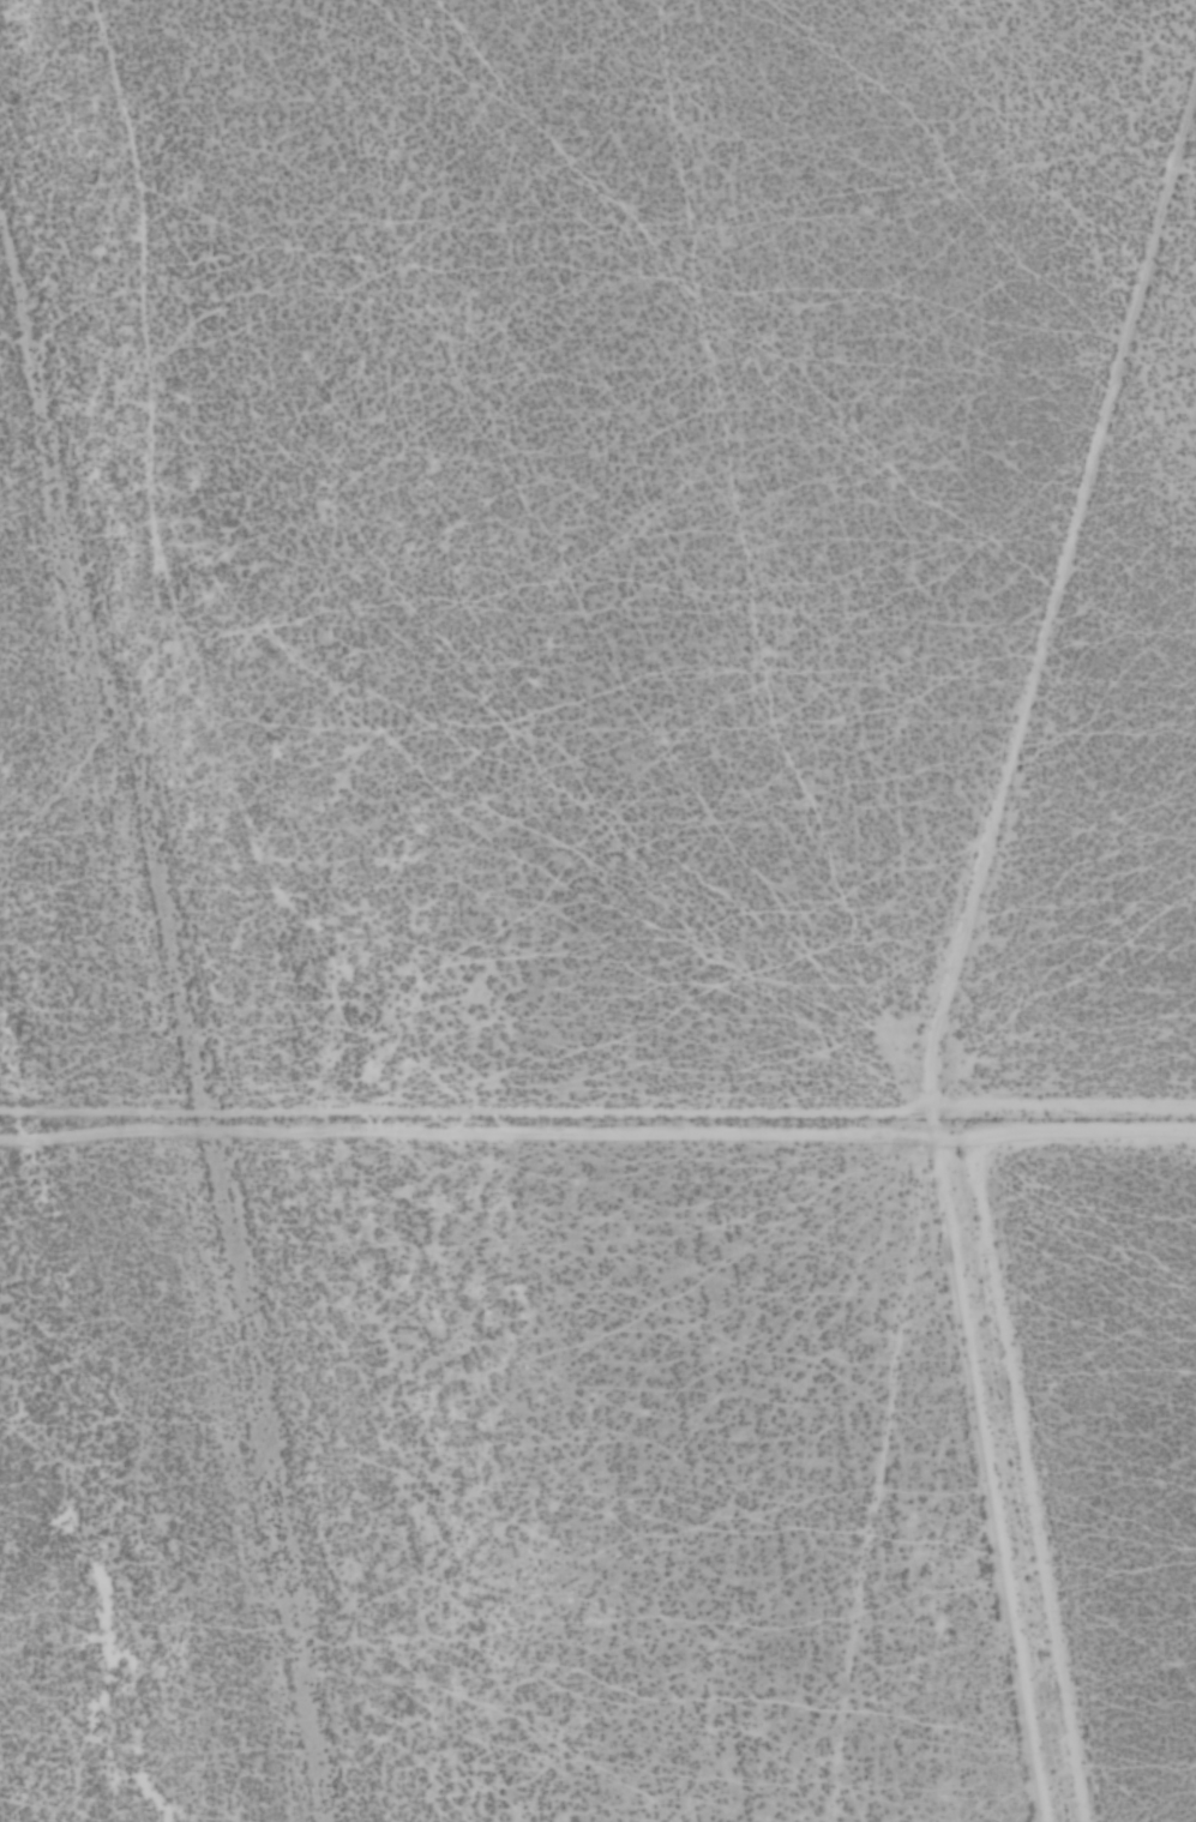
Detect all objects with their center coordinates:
road: (962, 951)
road: (1069, 1114)
airport: (1100, 1429)

